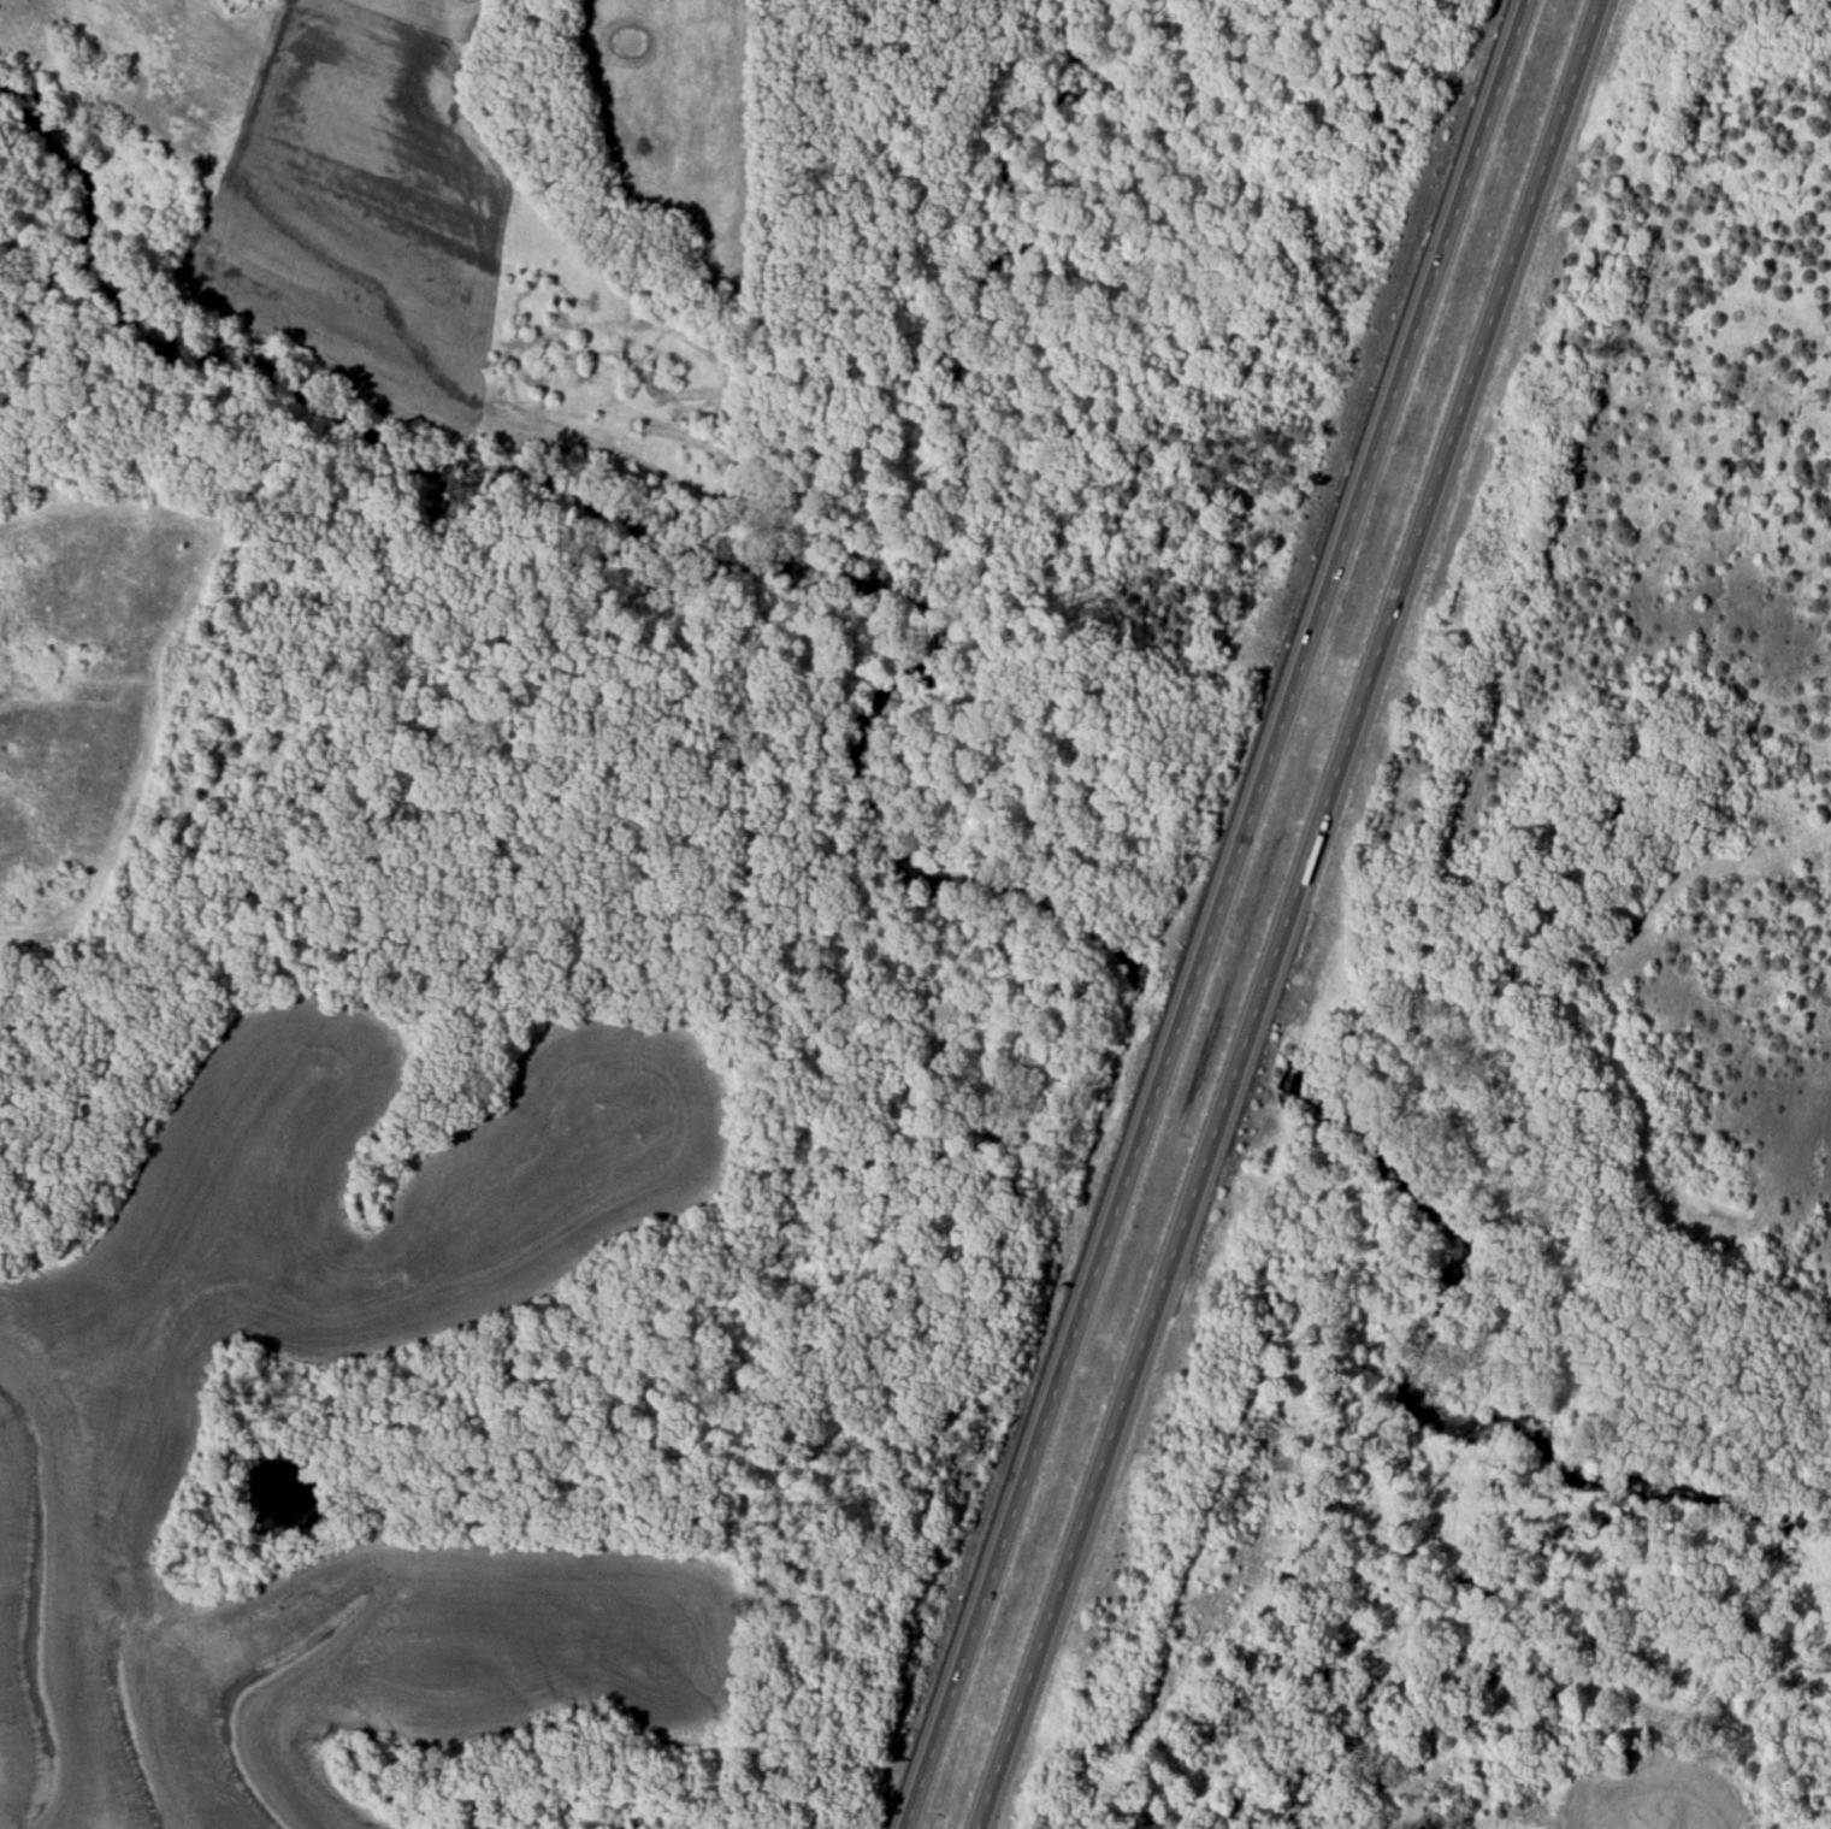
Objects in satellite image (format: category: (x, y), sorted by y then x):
river: (661, 536)
road: (1212, 914)
road: (1294, 915)
river: (1216, 1029)
river: (1460, 1399)

